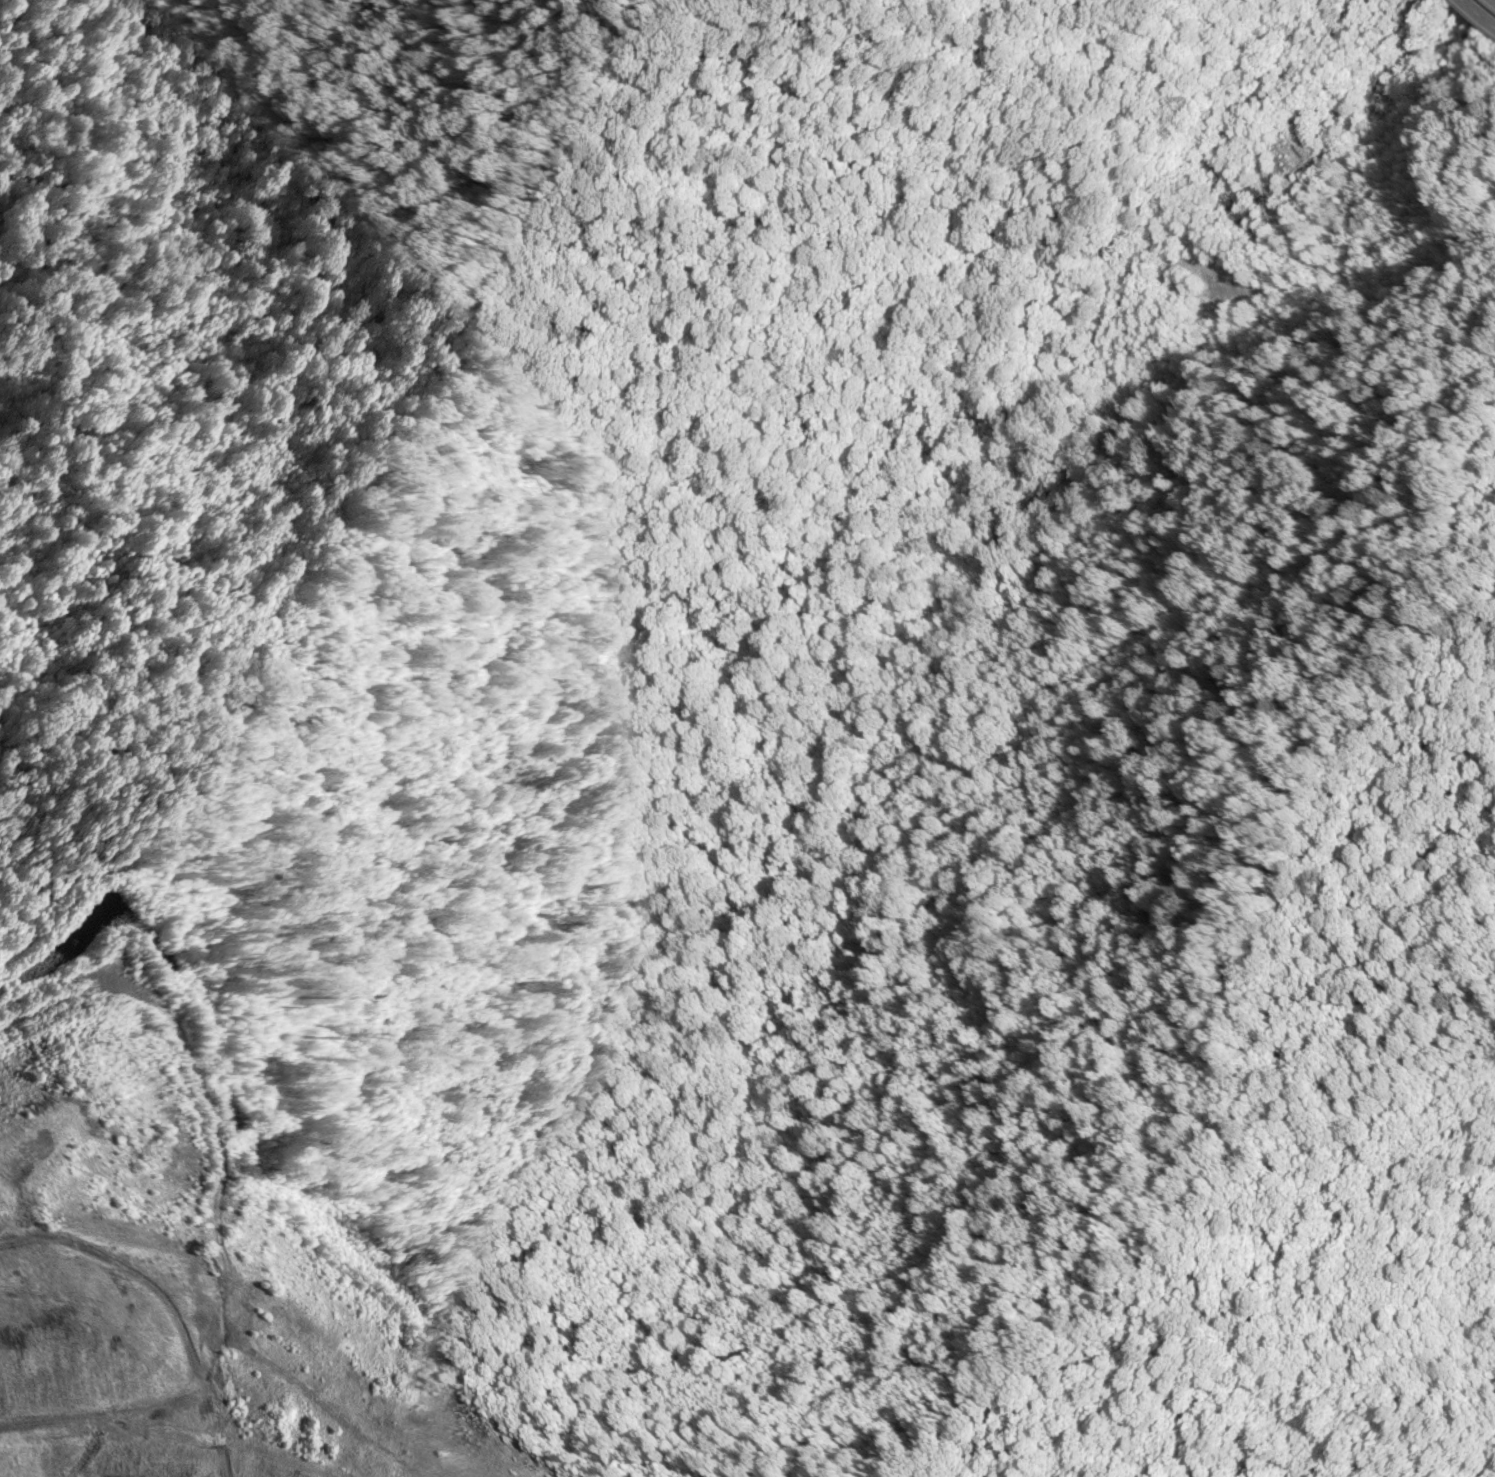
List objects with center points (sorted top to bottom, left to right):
road: (1483, 7)

